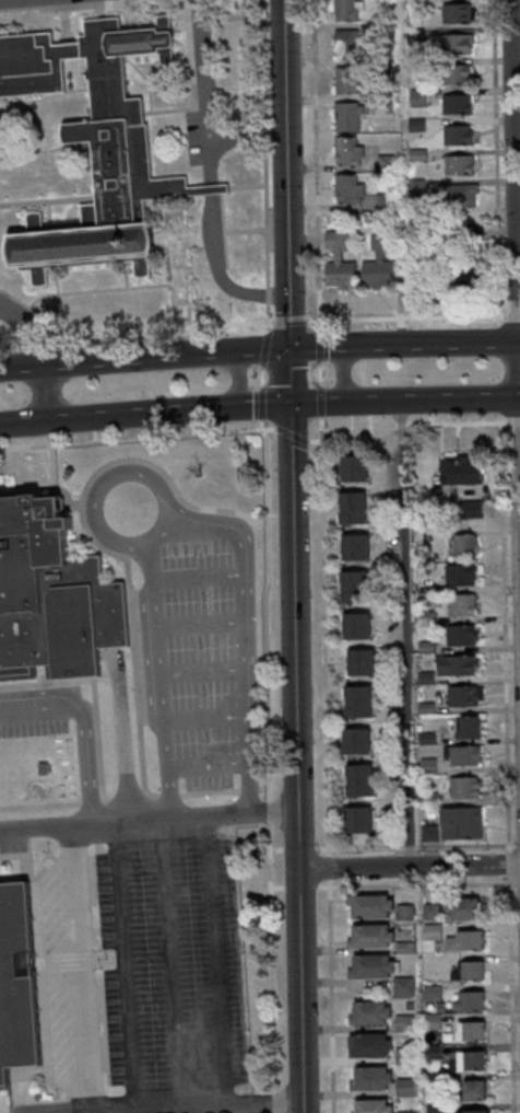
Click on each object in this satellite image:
building: (380, 0)
parking lot: (31, 2)
building: (344, 10)
building: (454, 14)
building: (380, 32)
building: (412, 34)
building: (453, 44)
building: (344, 45)
building: (380, 69)
building: (454, 74)
building: (343, 81)
road: (203, 92)
building: (415, 98)
building: (380, 104)
building: (454, 104)
building: (344, 116)
building: (414, 126)
road: (246, 134)
building: (456, 136)
road: (284, 147)
building: (94, 148)
building: (345, 152)
building: (415, 154)
building: (382, 163)
road: (311, 164)
road: (261, 166)
building: (457, 166)
building: (414, 188)
road: (209, 189)
building: (345, 189)
building: (452, 196)
building: (382, 206)
building: (470, 232)
road: (515, 240)
building: (375, 263)
building: (336, 264)
road: (217, 273)
building: (471, 274)
parking lot: (2, 301)
road: (411, 316)
road: (284, 320)
road: (288, 321)
road: (23, 331)
road: (133, 331)
road: (439, 344)
road: (319, 345)
road: (323, 347)
road: (264, 349)
traffic signals: (288, 349)
road: (257, 351)
road: (113, 362)
road: (342, 371)
road: (320, 373)
road: (261, 376)
road: (288, 376)
road: (236, 384)
road: (45, 394)
road: (460, 398)
road: (320, 399)
road: (374, 401)
road: (261, 403)
road: (319, 404)
traffic signals: (289, 405)
road: (252, 407)
road: (132, 416)
road: (513, 420)
road: (23, 422)
road: (407, 427)
road: (292, 432)
road: (137, 438)
building: (351, 469)
building: (458, 469)
building: (350, 508)
building: (469, 509)
road: (284, 517)
road: (92, 533)
building: (462, 546)
building: (353, 548)
building: (421, 554)
building: (458, 576)
building: (352, 588)
building: (52, 598)
building: (460, 606)
road: (265, 608)
building: (424, 617)
building: (354, 627)
road: (406, 634)
building: (459, 636)
building: (424, 647)
building: (359, 663)
building: (454, 665)
building: (424, 677)
road: (47, 683)
building: (460, 696)
building: (356, 703)
building: (424, 708)
road: (82, 727)
building: (465, 728)
building: (425, 739)
building: (355, 742)
building: (461, 755)
road: (296, 758)
road: (327, 765)
building: (426, 767)
building: (357, 781)
building: (460, 787)
road: (250, 788)
road: (264, 788)
road: (151, 791)
road: (211, 791)
road: (169, 792)
road: (127, 793)
road: (105, 798)
building: (427, 799)
road: (91, 801)
road: (40, 805)
road: (270, 812)
building: (355, 821)
road: (149, 822)
building: (459, 823)
building: (427, 833)
road: (518, 844)
road: (415, 845)
road: (298, 847)
road: (276, 849)
road: (409, 868)
road: (416, 884)
road: (276, 886)
road: (300, 886)
building: (368, 907)
building: (461, 908)
building: (429, 912)
building: (402, 913)
building: (430, 931)
building: (368, 937)
building: (463, 942)
building: (403, 948)
road: (271, 957)
road: (215, 963)
road: (170, 965)
road: (121, 969)
building: (368, 969)
road: (79, 970)
building: (466, 972)
building: (17, 984)
building: (402, 987)
building: (430, 994)
building: (469, 1002)
building: (407, 1006)
building: (368, 1015)
building: (430, 1022)
building: (402, 1023)
building: (469, 1032)
building: (368, 1047)
building: (432, 1052)
building: (402, 1056)
building: (466, 1063)
building: (368, 1080)
road: (256, 1085)
building: (403, 1088)
building: (473, 1091)
road: (275, 1101)
building: (370, 1106)
road: (206, 1108)
building: (432, 1109)
building: (407, 1111)
building: (470, 1112)

